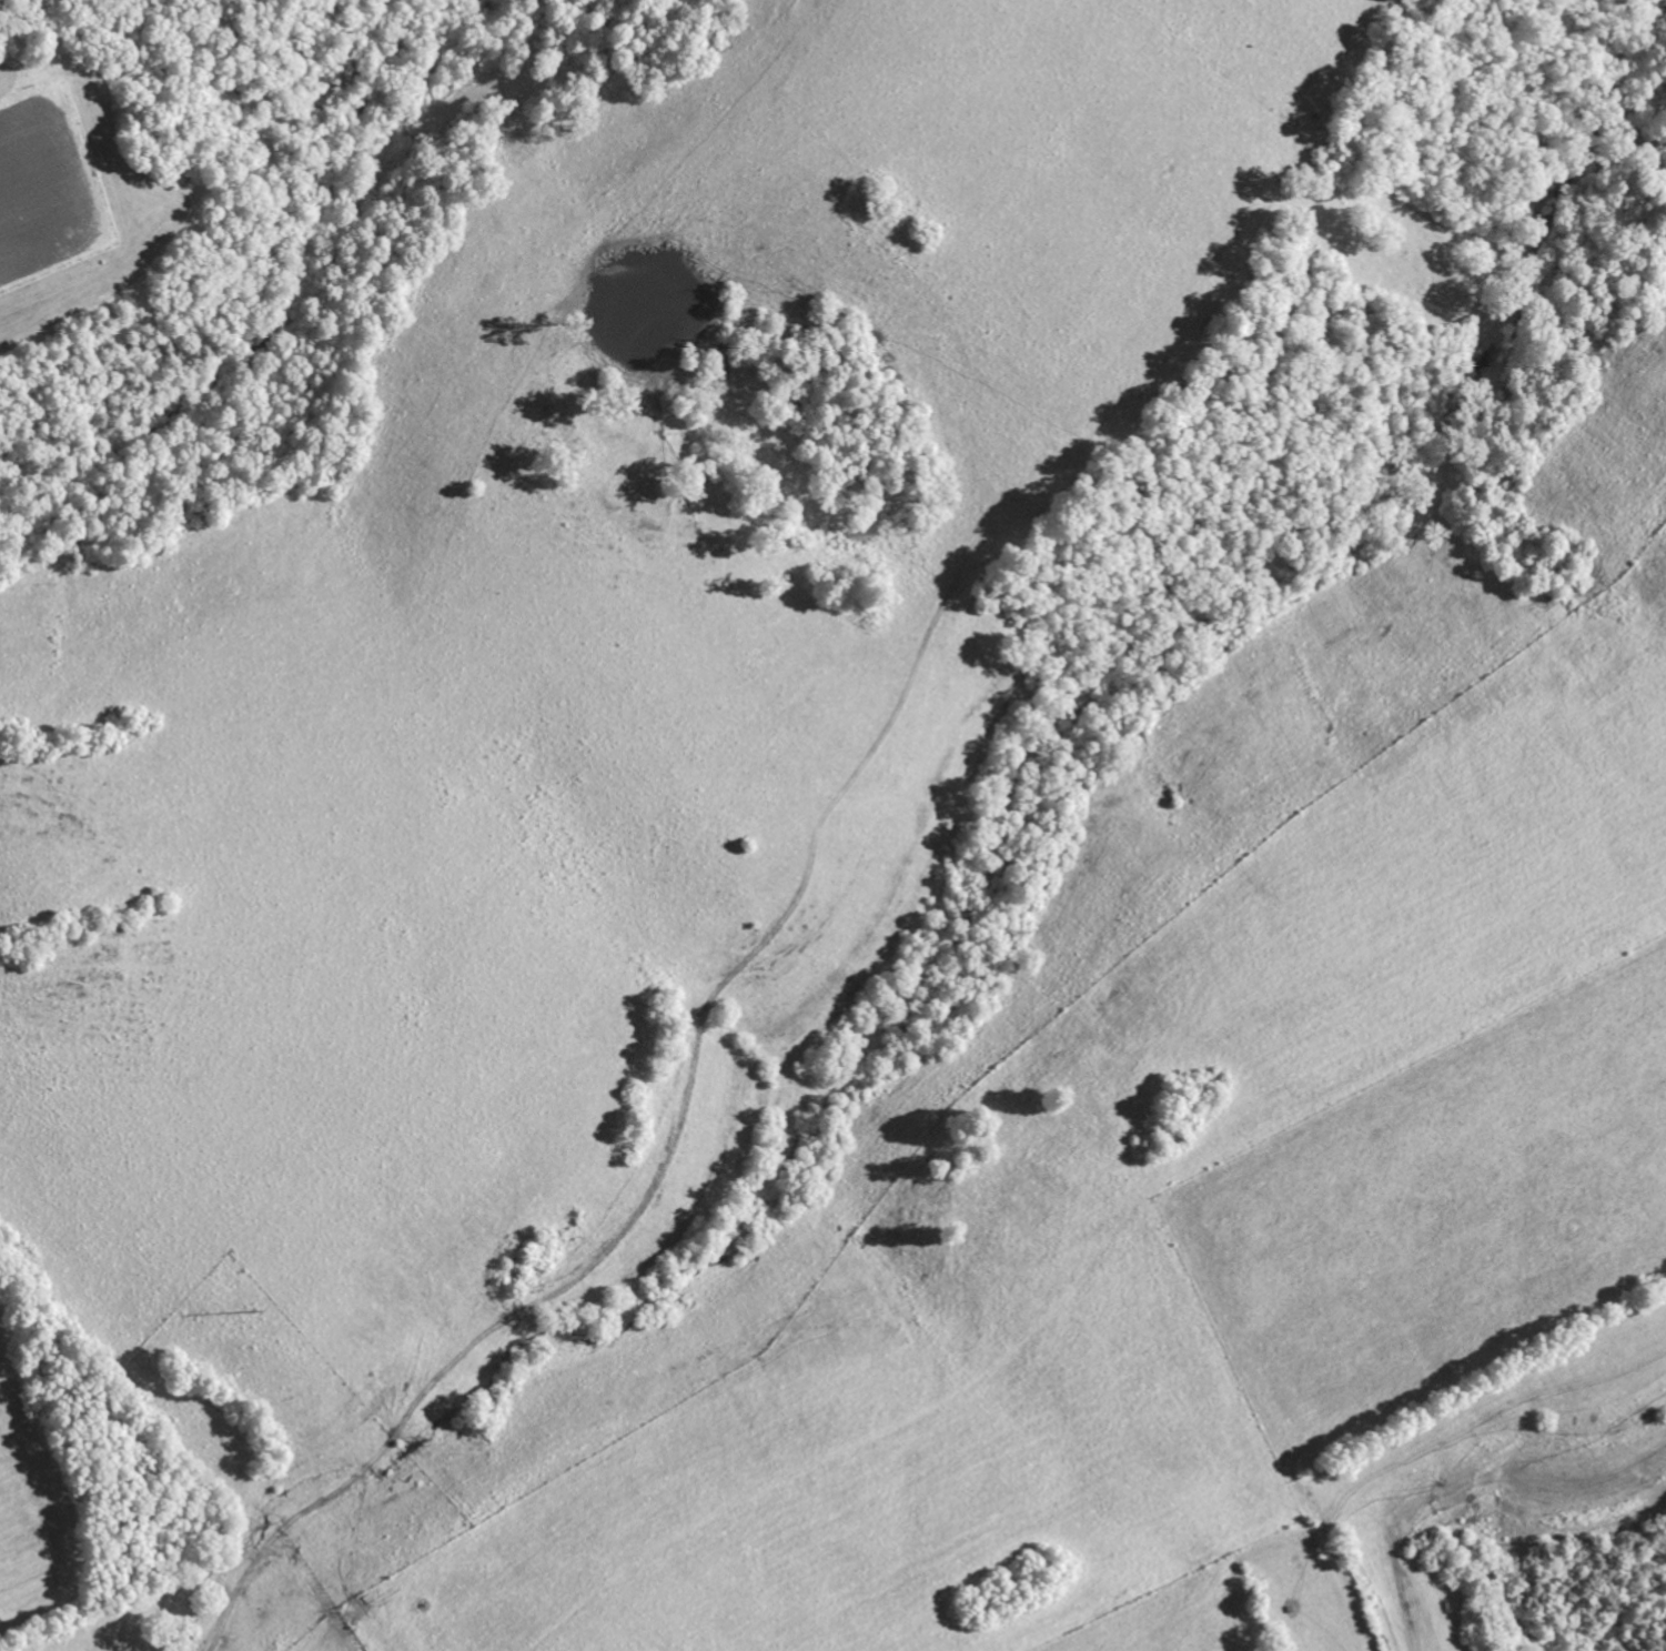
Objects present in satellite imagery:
power tower: (266, 1315)

